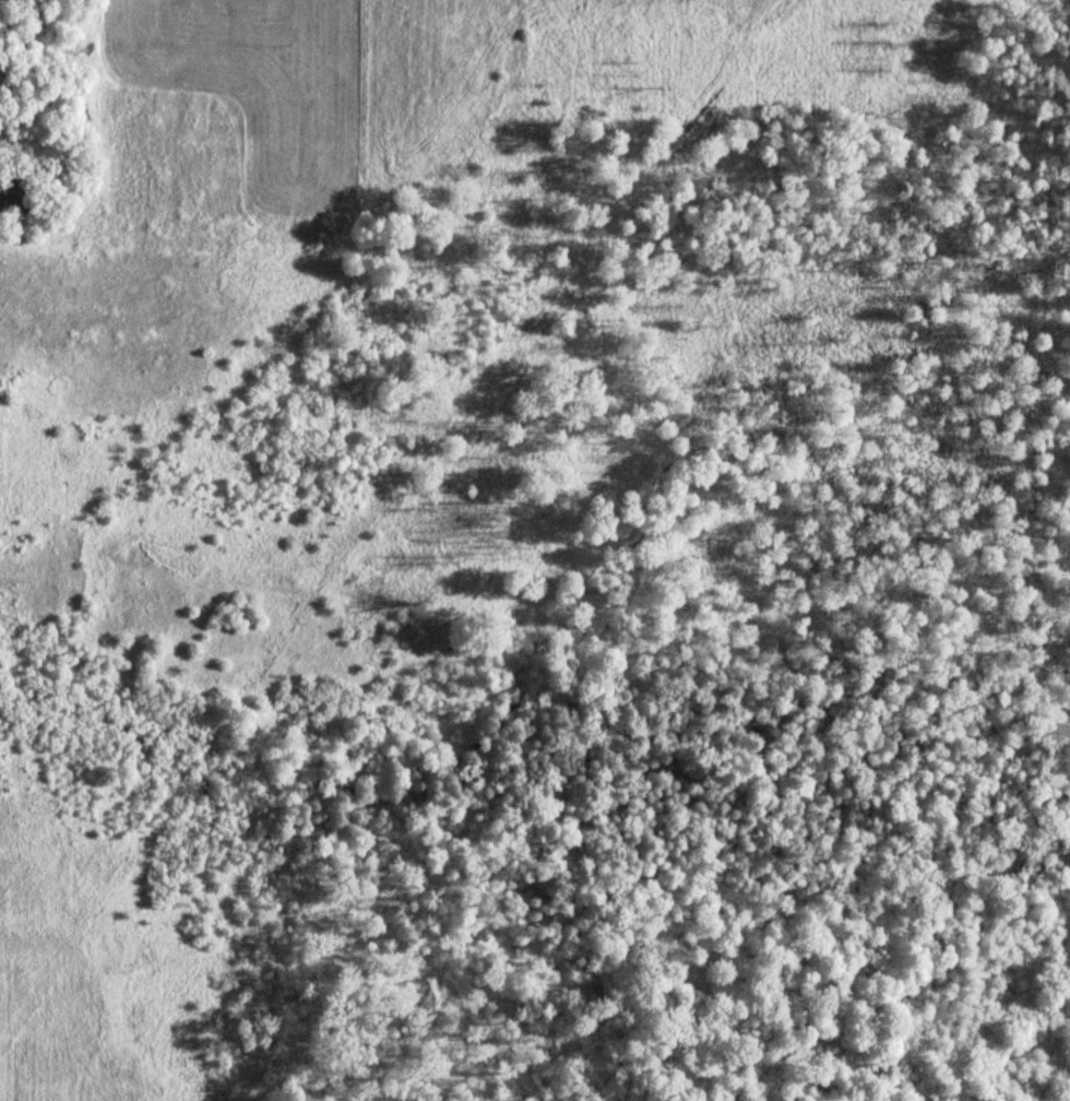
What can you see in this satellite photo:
building: (23, 191)

